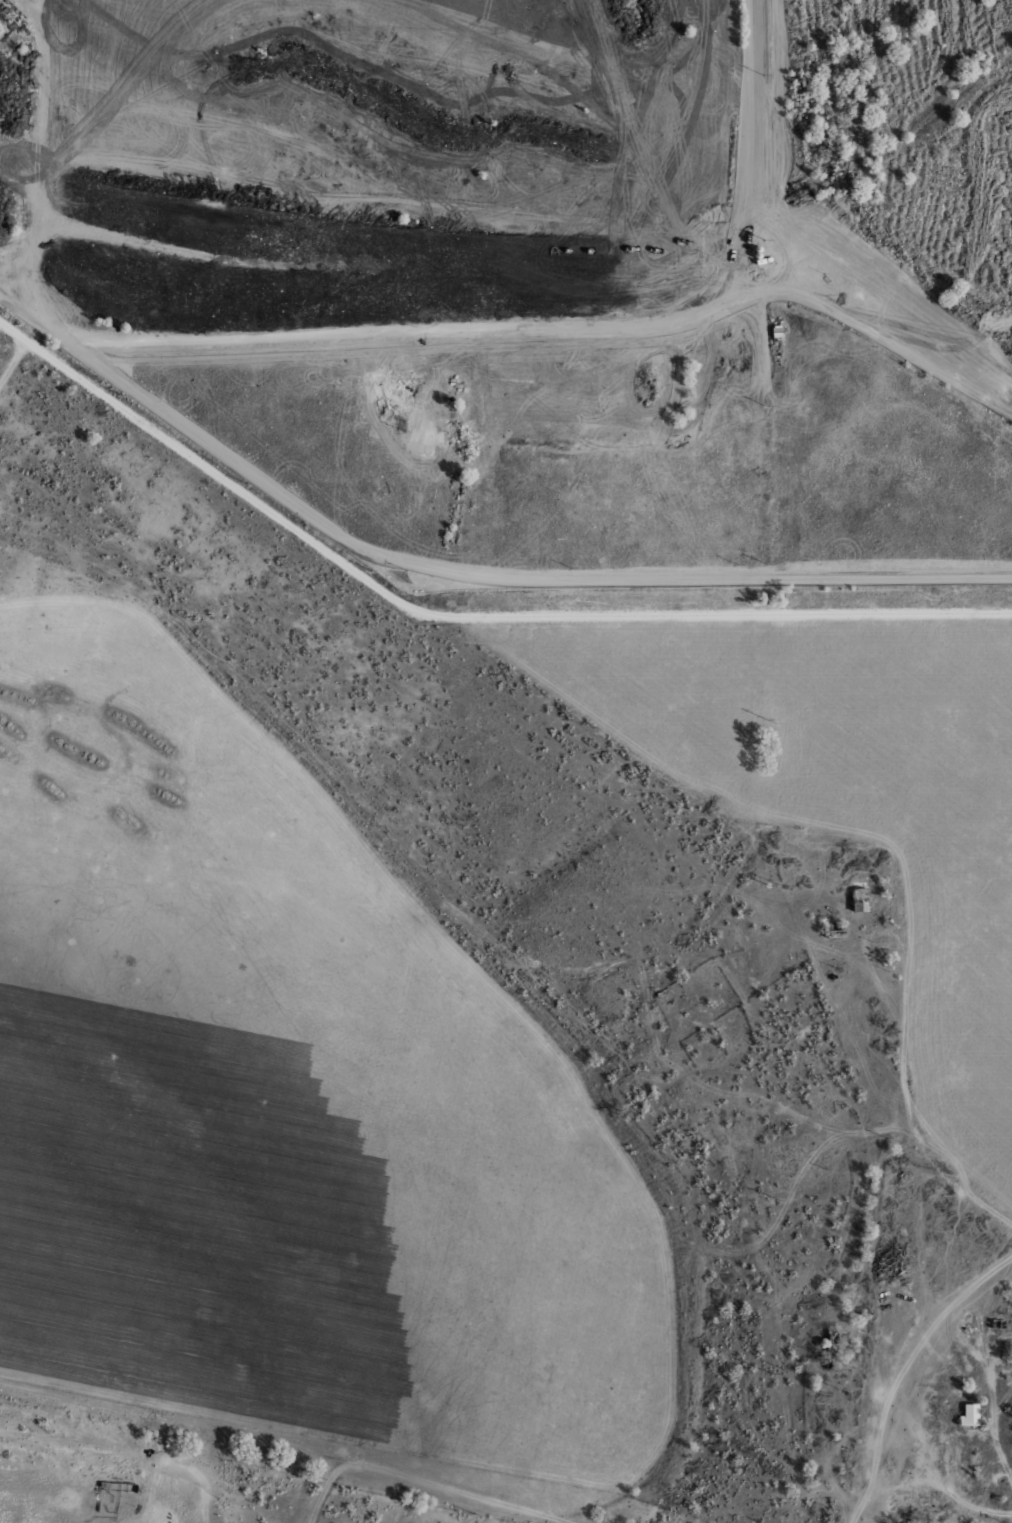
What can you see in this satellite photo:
building: (707, 15)
road: (801, 306)
road: (866, 315)
road: (544, 334)
road: (12, 359)
building: (432, 404)
road: (460, 614)
building: (858, 899)
road: (902, 1031)
road: (961, 1188)
road: (923, 1338)
building: (966, 1414)
road: (174, 1418)
road: (878, 1427)
road: (998, 1448)
road: (935, 1469)
road: (424, 1478)
road: (325, 1487)
road: (552, 1511)

